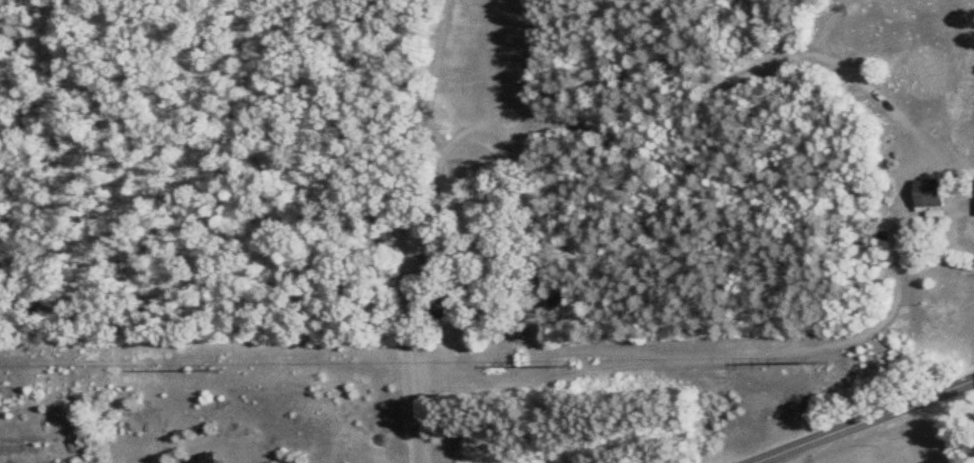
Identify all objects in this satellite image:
building: (926, 194)
road: (957, 231)
road: (398, 280)
building: (438, 313)
building: (513, 329)
power tower: (826, 362)
power tower: (572, 367)
power tower: (220, 369)
road: (863, 420)
building: (473, 440)
building: (201, 459)

